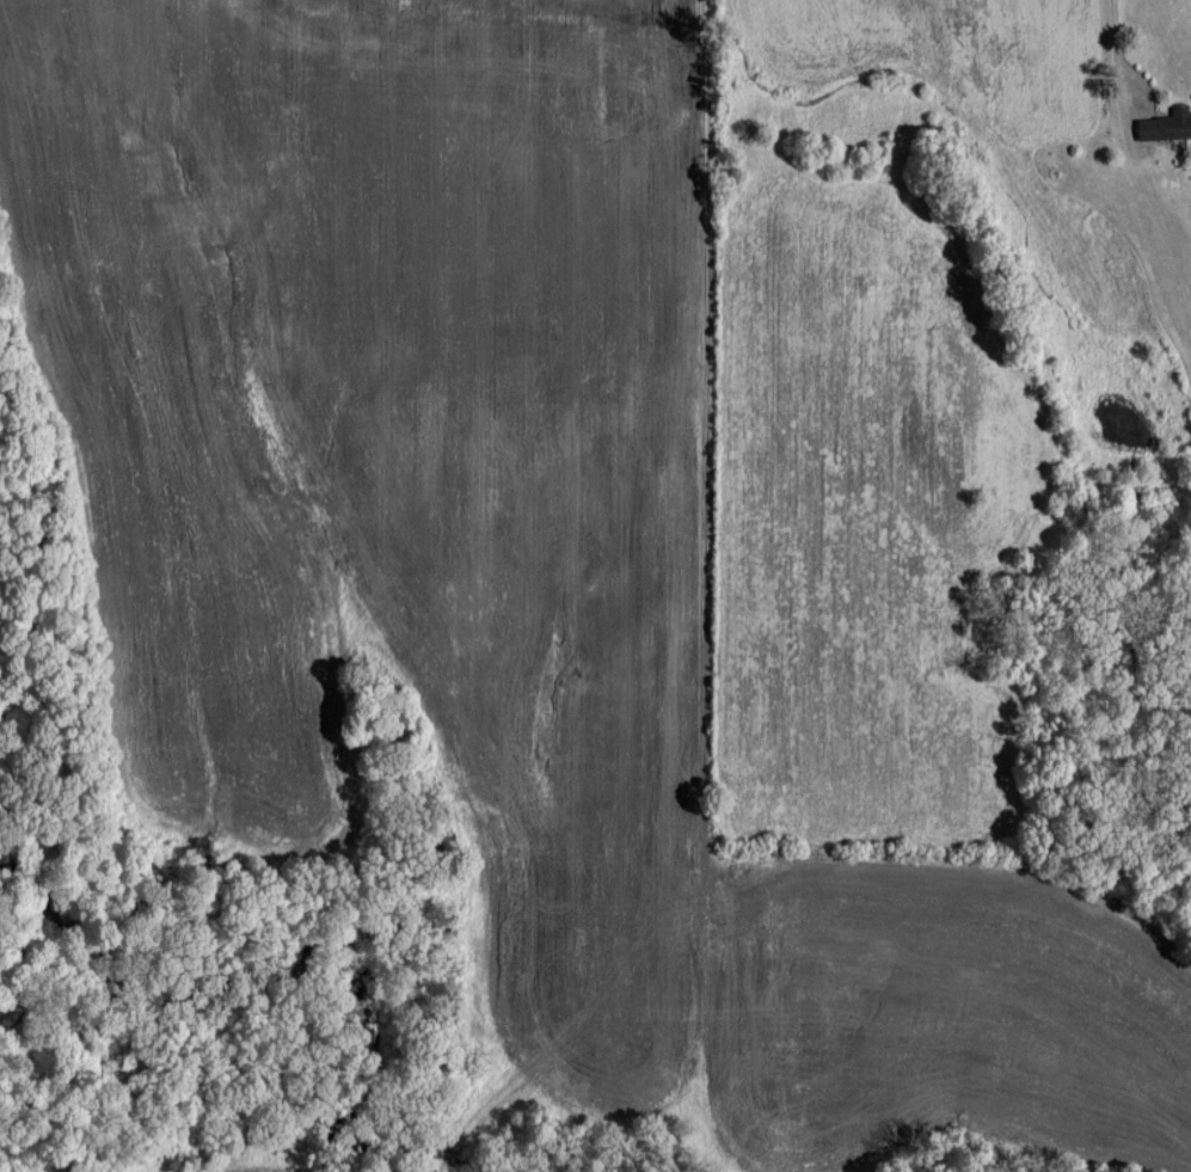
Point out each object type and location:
road: (1119, 76)
building: (1166, 124)

